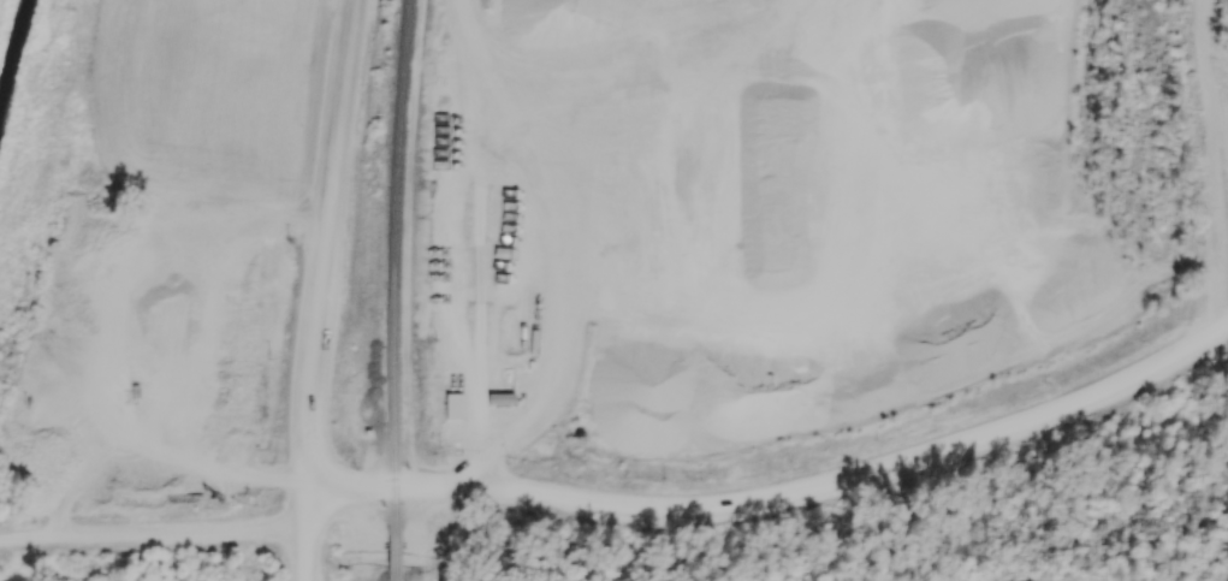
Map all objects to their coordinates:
river: (17, 60)
road: (1209, 170)
railway: (392, 261)
road: (318, 289)
building: (504, 402)
building: (456, 409)
road: (779, 494)
road: (150, 535)
railway: (394, 552)

